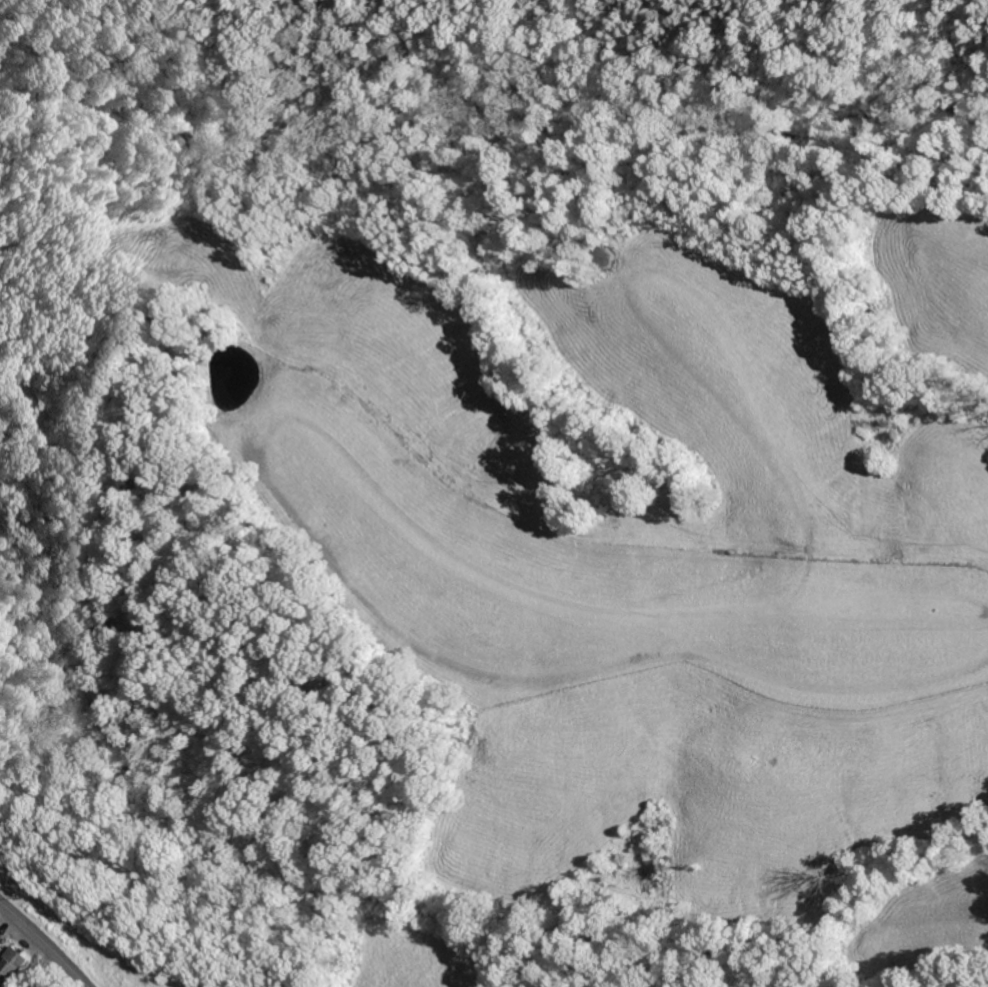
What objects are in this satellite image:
road: (38, 947)
building: (12, 965)

